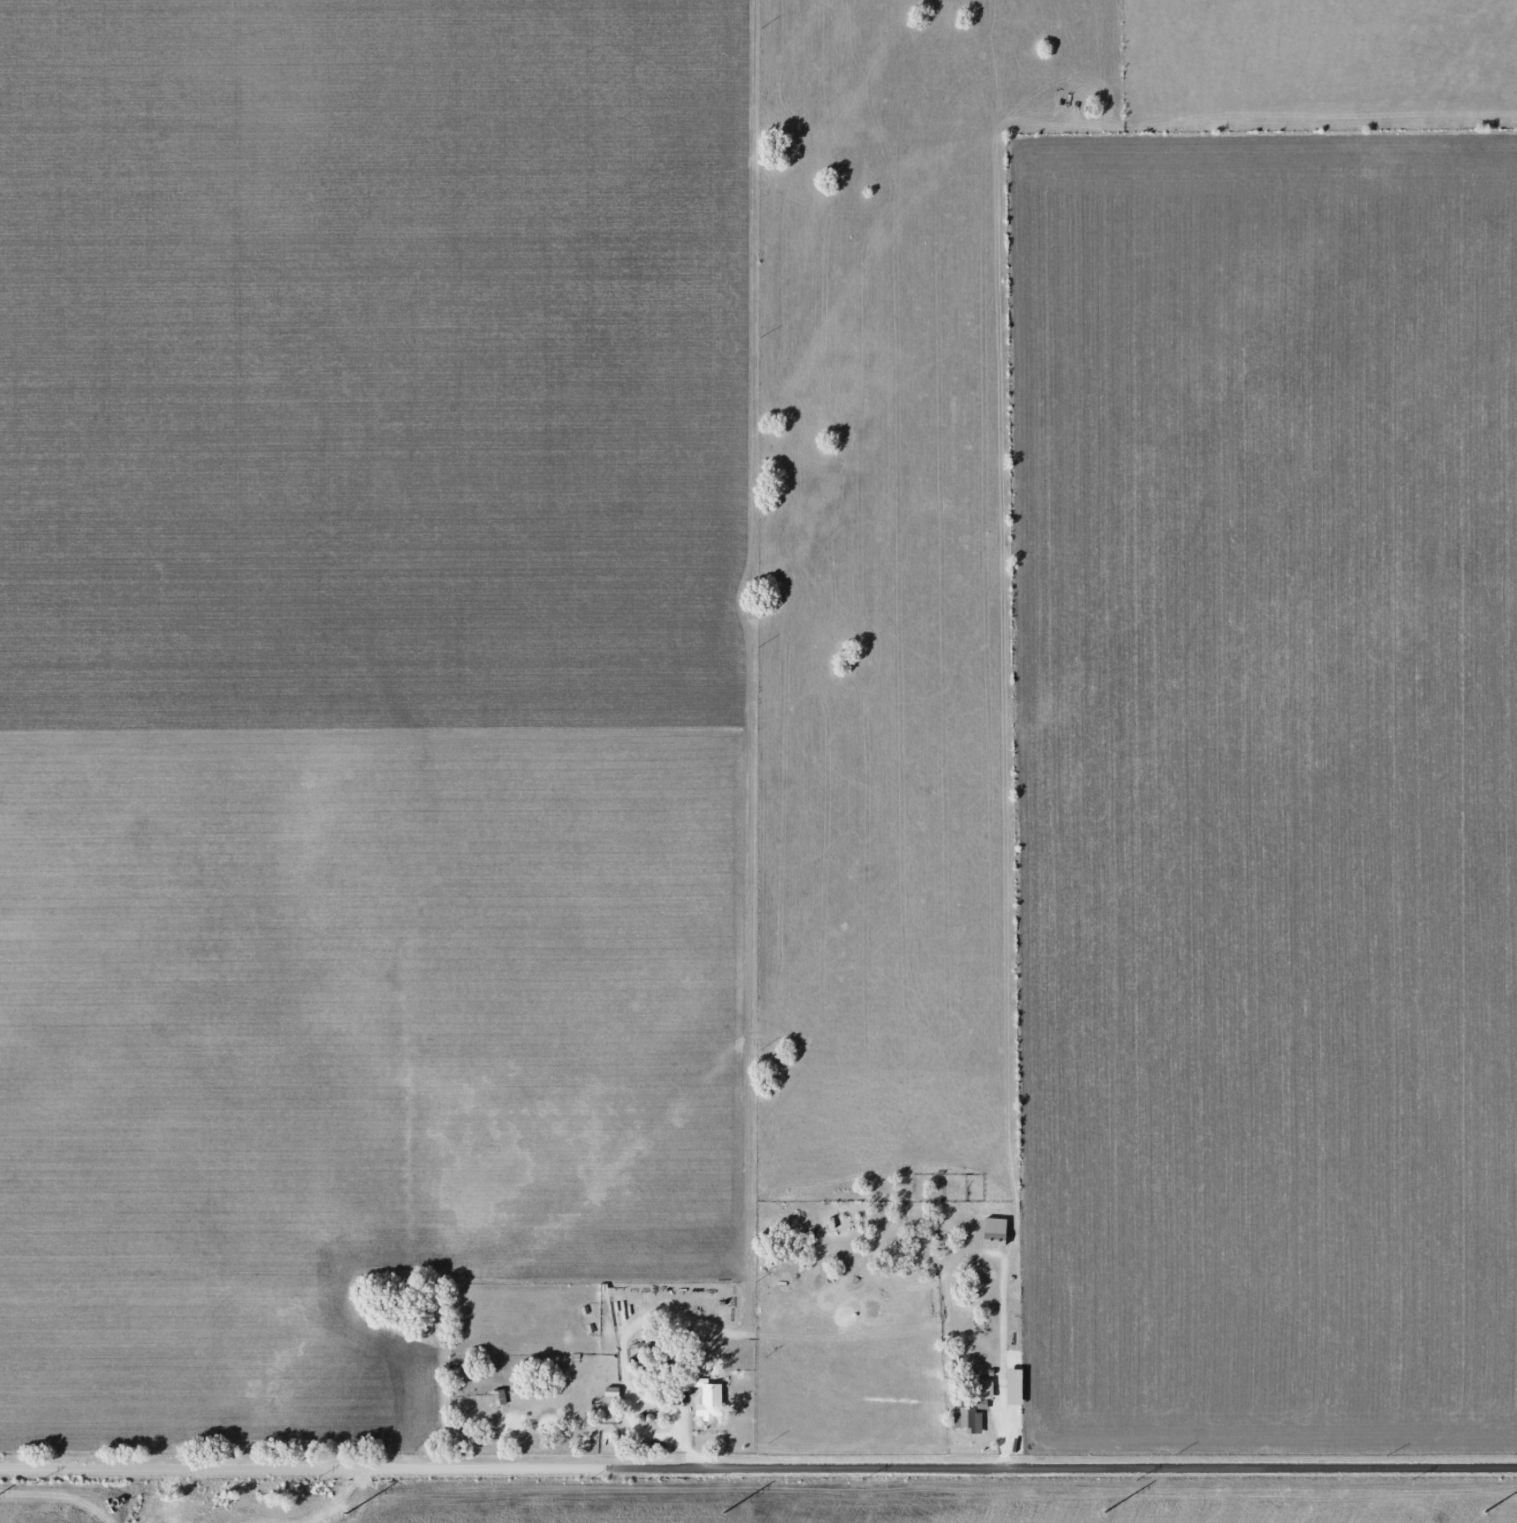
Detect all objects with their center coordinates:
building: (999, 1233)
building: (986, 1389)
building: (496, 1399)
building: (709, 1403)
building: (969, 1419)
road: (758, 1468)
power tower: (309, 1480)
power tower: (587, 1480)
power tower: (859, 1480)
power tower: (1135, 1480)
power tower: (1411, 1480)
power tower: (35, 1481)
power tower: (1104, 1511)
power tower: (725, 1512)
power tower: (1485, 1512)
power tower: (344, 1513)

